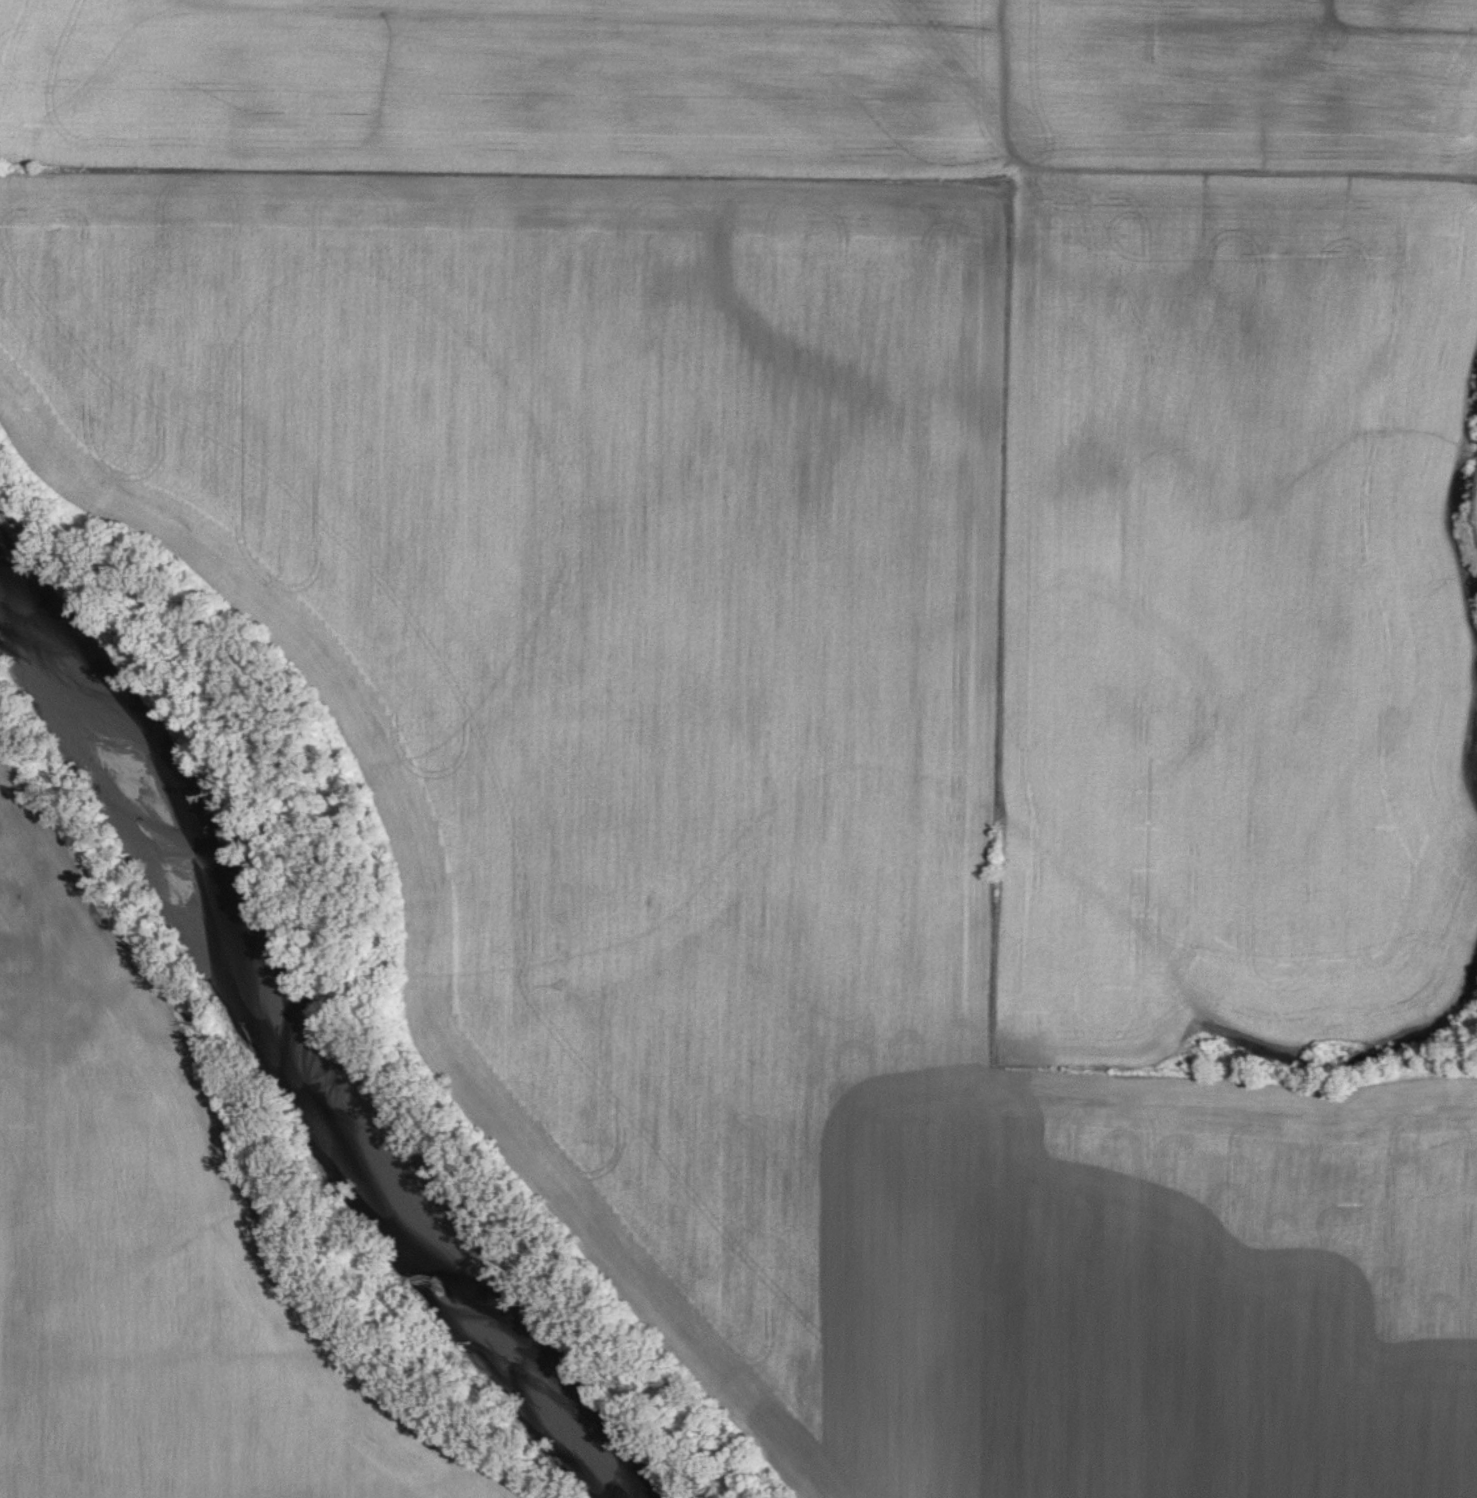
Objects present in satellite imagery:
river: (295, 1061)

